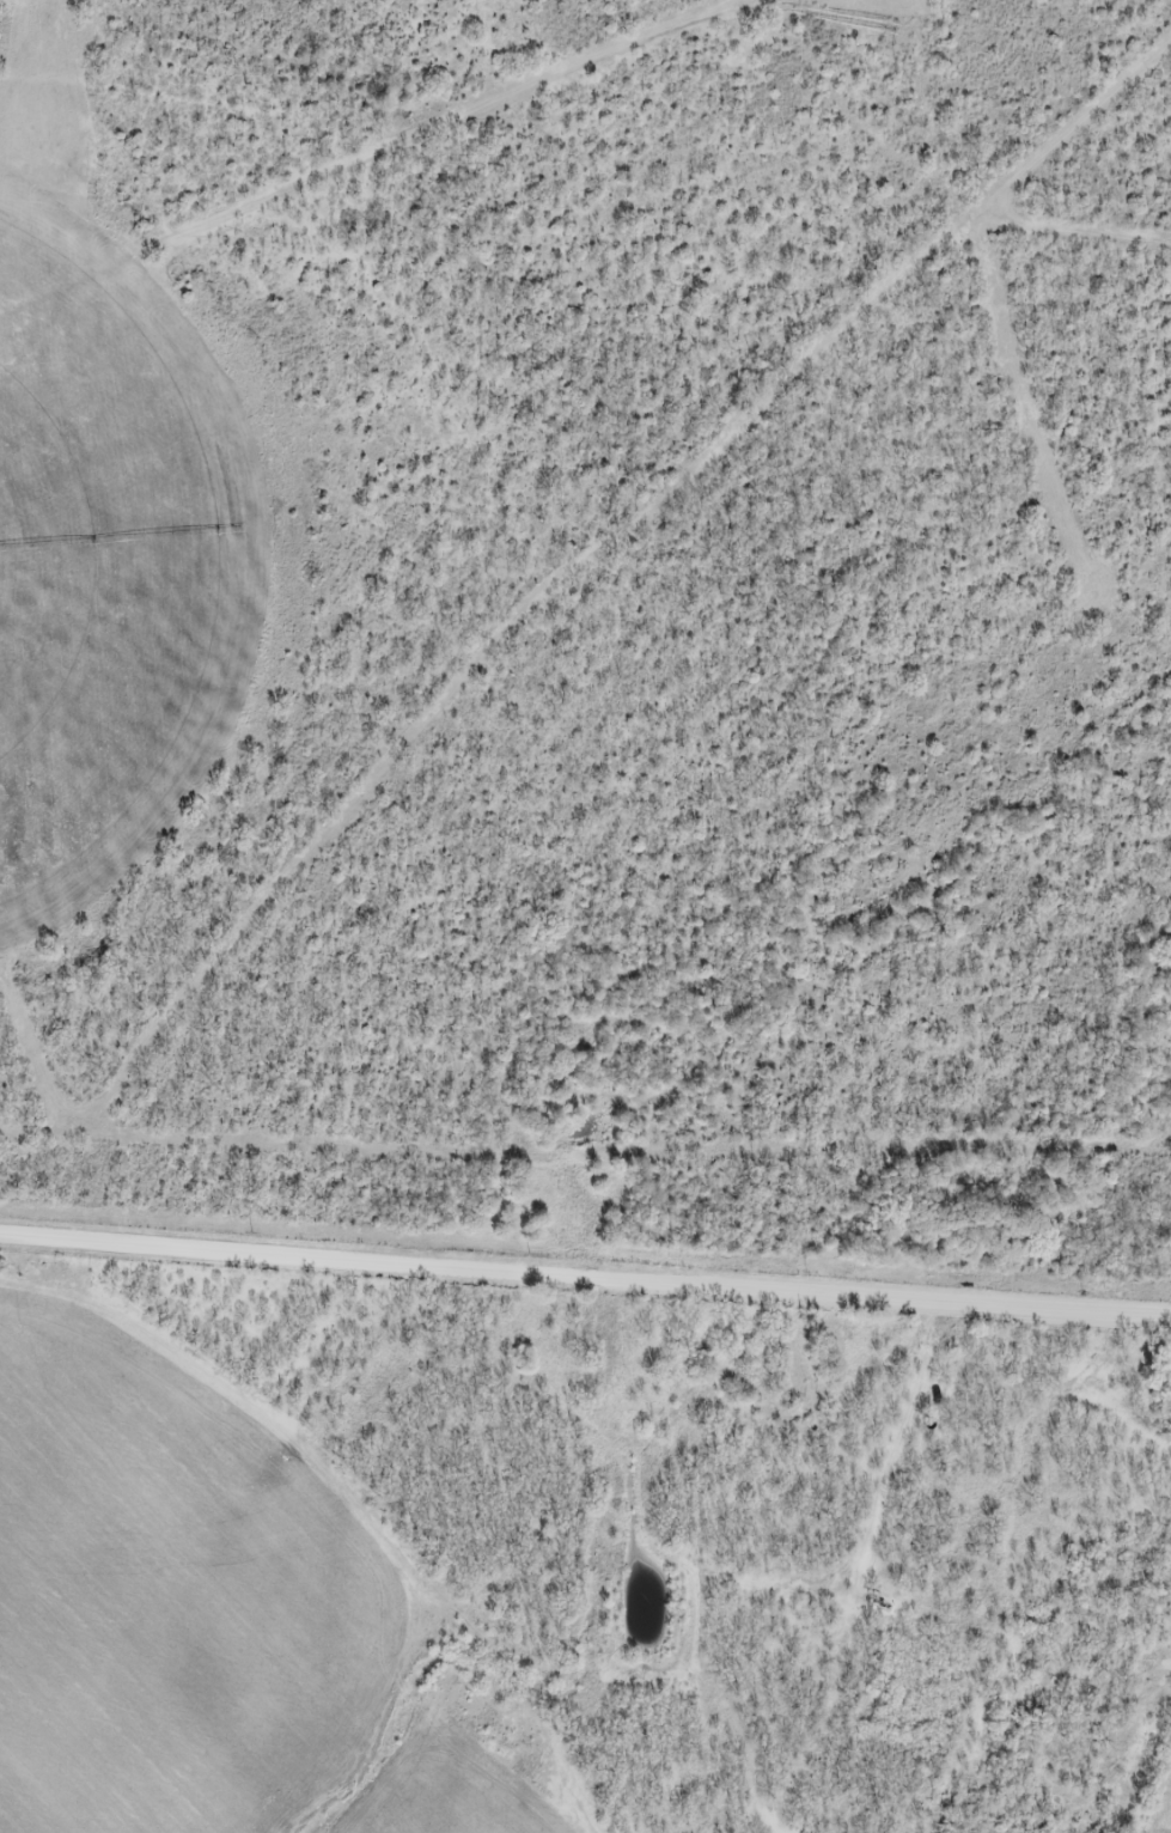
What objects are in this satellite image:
road: (390, 153)
road: (578, 623)
road: (585, 1269)

